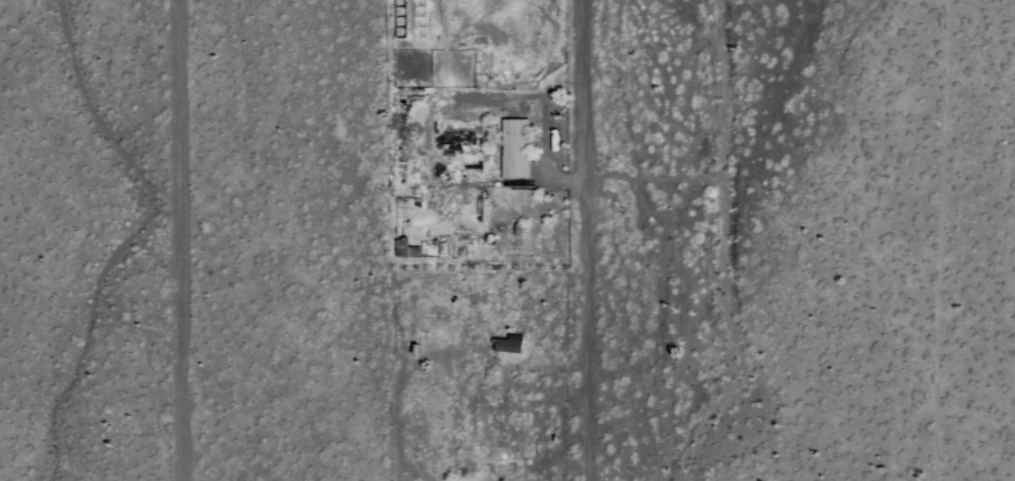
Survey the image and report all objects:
road: (173, 240)
road: (585, 240)
road: (533, 416)

